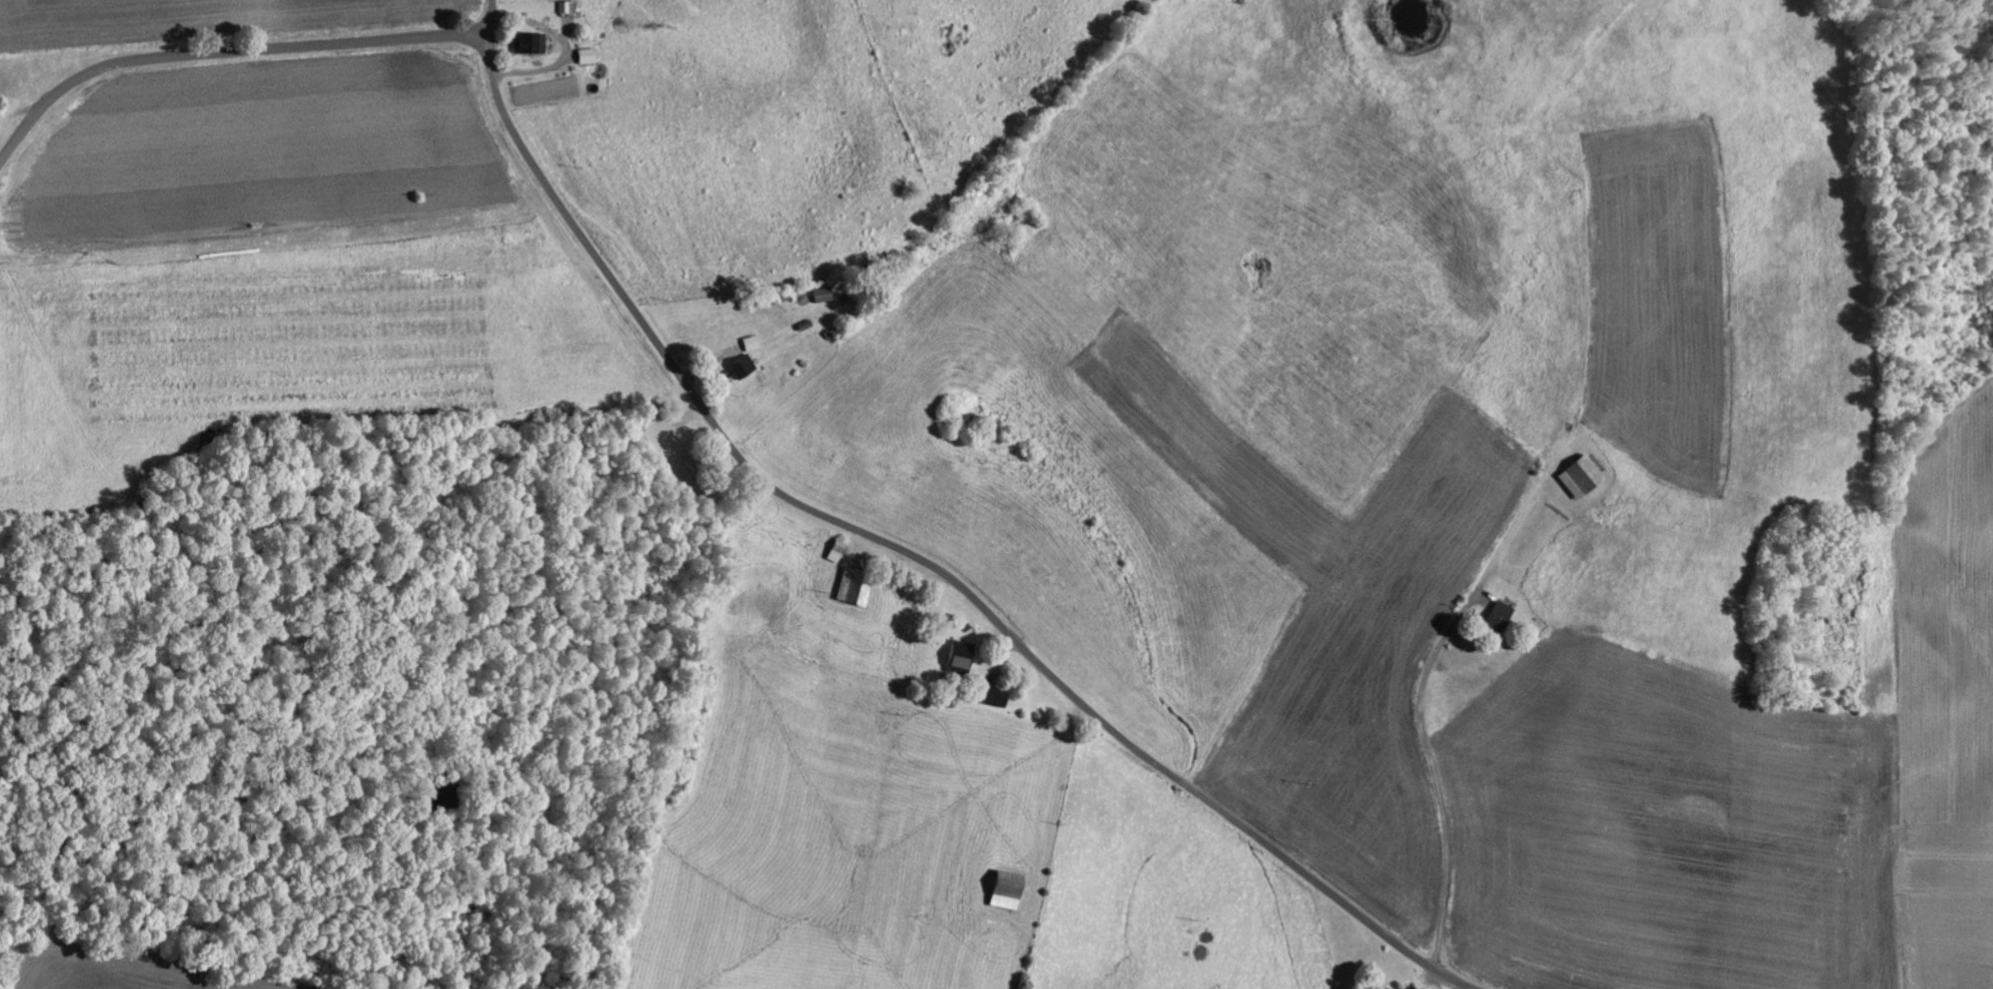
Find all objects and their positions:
building: (569, 6)
building: (531, 41)
road: (224, 49)
building: (589, 54)
building: (825, 293)
building: (752, 342)
building: (742, 366)
building: (1583, 476)
road: (903, 550)
road: (1472, 584)
building: (856, 586)
building: (1503, 616)
building: (962, 654)
building: (997, 696)
building: (1009, 889)
building: (1413, 987)

